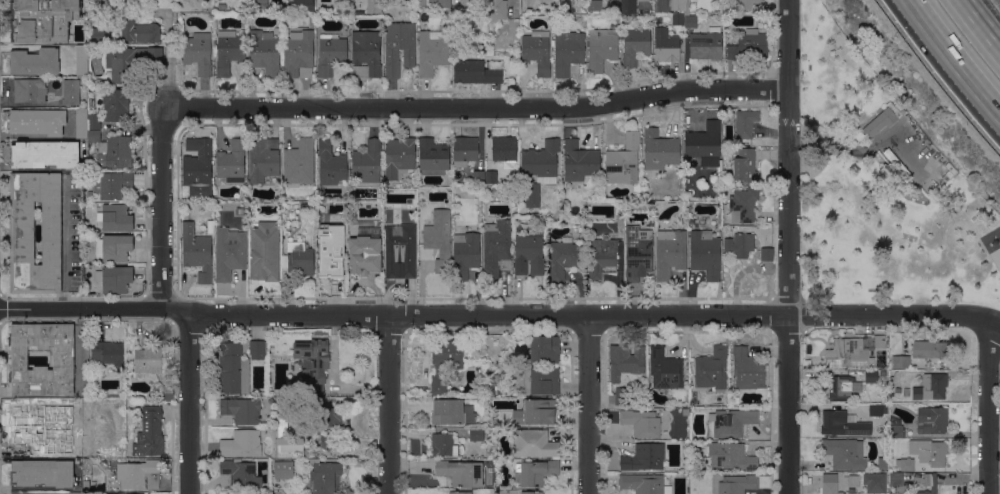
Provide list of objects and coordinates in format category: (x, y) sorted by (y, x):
building: (147, 1)
building: (131, 2)
building: (438, 3)
building: (464, 3)
building: (750, 4)
building: (221, 6)
building: (259, 6)
building: (300, 6)
building: (596, 6)
building: (628, 6)
building: (671, 6)
building: (496, 10)
building: (42, 19)
building: (677, 19)
building: (689, 21)
road: (981, 23)
road: (923, 25)
road: (932, 25)
building: (139, 31)
building: (97, 35)
building: (634, 44)
building: (706, 44)
building: (666, 45)
building: (749, 45)
building: (399, 47)
building: (602, 48)
building: (228, 51)
building: (432, 51)
building: (537, 51)
building: (198, 52)
building: (265, 52)
building: (567, 52)
building: (330, 53)
building: (365, 53)
building: (298, 54)
building: (129, 60)
building: (34, 61)
building: (81, 61)
road: (170, 63)
building: (477, 71)
road: (975, 80)
building: (29, 90)
building: (71, 92)
building: (115, 105)
road: (476, 109)
building: (37, 121)
building: (881, 121)
building: (93, 122)
building: (81, 123)
building: (745, 123)
building: (704, 142)
building: (464, 150)
building: (504, 150)
building: (659, 150)
building: (112, 152)
building: (44, 154)
building: (432, 156)
building: (399, 157)
building: (263, 160)
building: (368, 160)
building: (231, 161)
building: (541, 161)
building: (579, 161)
building: (623, 161)
building: (300, 162)
building: (198, 163)
building: (897, 163)
building: (330, 164)
building: (745, 165)
building: (478, 176)
building: (491, 177)
building: (114, 183)
building: (532, 194)
park: (876, 194)
building: (743, 205)
road: (162, 208)
building: (240, 210)
building: (114, 217)
building: (620, 220)
building: (22, 232)
building: (439, 238)
building: (740, 244)
road: (786, 246)
building: (114, 247)
building: (496, 247)
building: (264, 249)
building: (400, 251)
building: (197, 252)
building: (229, 252)
building: (330, 252)
building: (637, 252)
building: (670, 252)
building: (529, 253)
building: (767, 253)
building: (465, 254)
building: (705, 254)
building: (364, 255)
building: (602, 256)
building: (300, 258)
building: (564, 259)
building: (506, 264)
building: (115, 278)
road: (495, 315)
road: (996, 316)
building: (879, 341)
building: (544, 348)
building: (256, 349)
building: (929, 349)
building: (448, 352)
building: (846, 353)
building: (107, 354)
building: (63, 357)
building: (148, 358)
building: (625, 360)
building: (897, 360)
building: (313, 362)
building: (233, 369)
building: (665, 369)
building: (747, 369)
building: (712, 370)
building: (882, 373)
building: (871, 376)
building: (544, 380)
building: (437, 386)
building: (491, 386)
building: (931, 386)
building: (843, 387)
building: (502, 390)
building: (898, 390)
building: (906, 392)
building: (166, 393)
building: (264, 393)
road: (189, 403)
road: (988, 403)
road: (390, 404)
road: (589, 405)
building: (877, 409)
building: (241, 410)
building: (447, 411)
building: (535, 412)
building: (932, 419)
building: (641, 422)
building: (730, 422)
building: (95, 424)
building: (842, 424)
building: (28, 426)
building: (68, 428)
building: (332, 428)
building: (896, 431)
building: (148, 432)
building: (476, 434)
building: (241, 443)
building: (533, 443)
building: (287, 444)
building: (444, 444)
building: (929, 451)
building: (493, 452)
building: (844, 453)
building: (729, 456)
building: (644, 457)
building: (882, 463)
building: (905, 464)
building: (283, 469)
building: (534, 472)
building: (42, 473)
building: (236, 473)
building: (460, 473)
building: (138, 475)
building: (323, 476)
building: (853, 481)
building: (875, 482)
building: (895, 482)
building: (644, 483)
building: (738, 484)
building: (832, 484)
building: (85, 485)
building: (237, 492)
building: (460, 492)
building: (531, 492)
building: (75, 493)
building: (128, 493)

